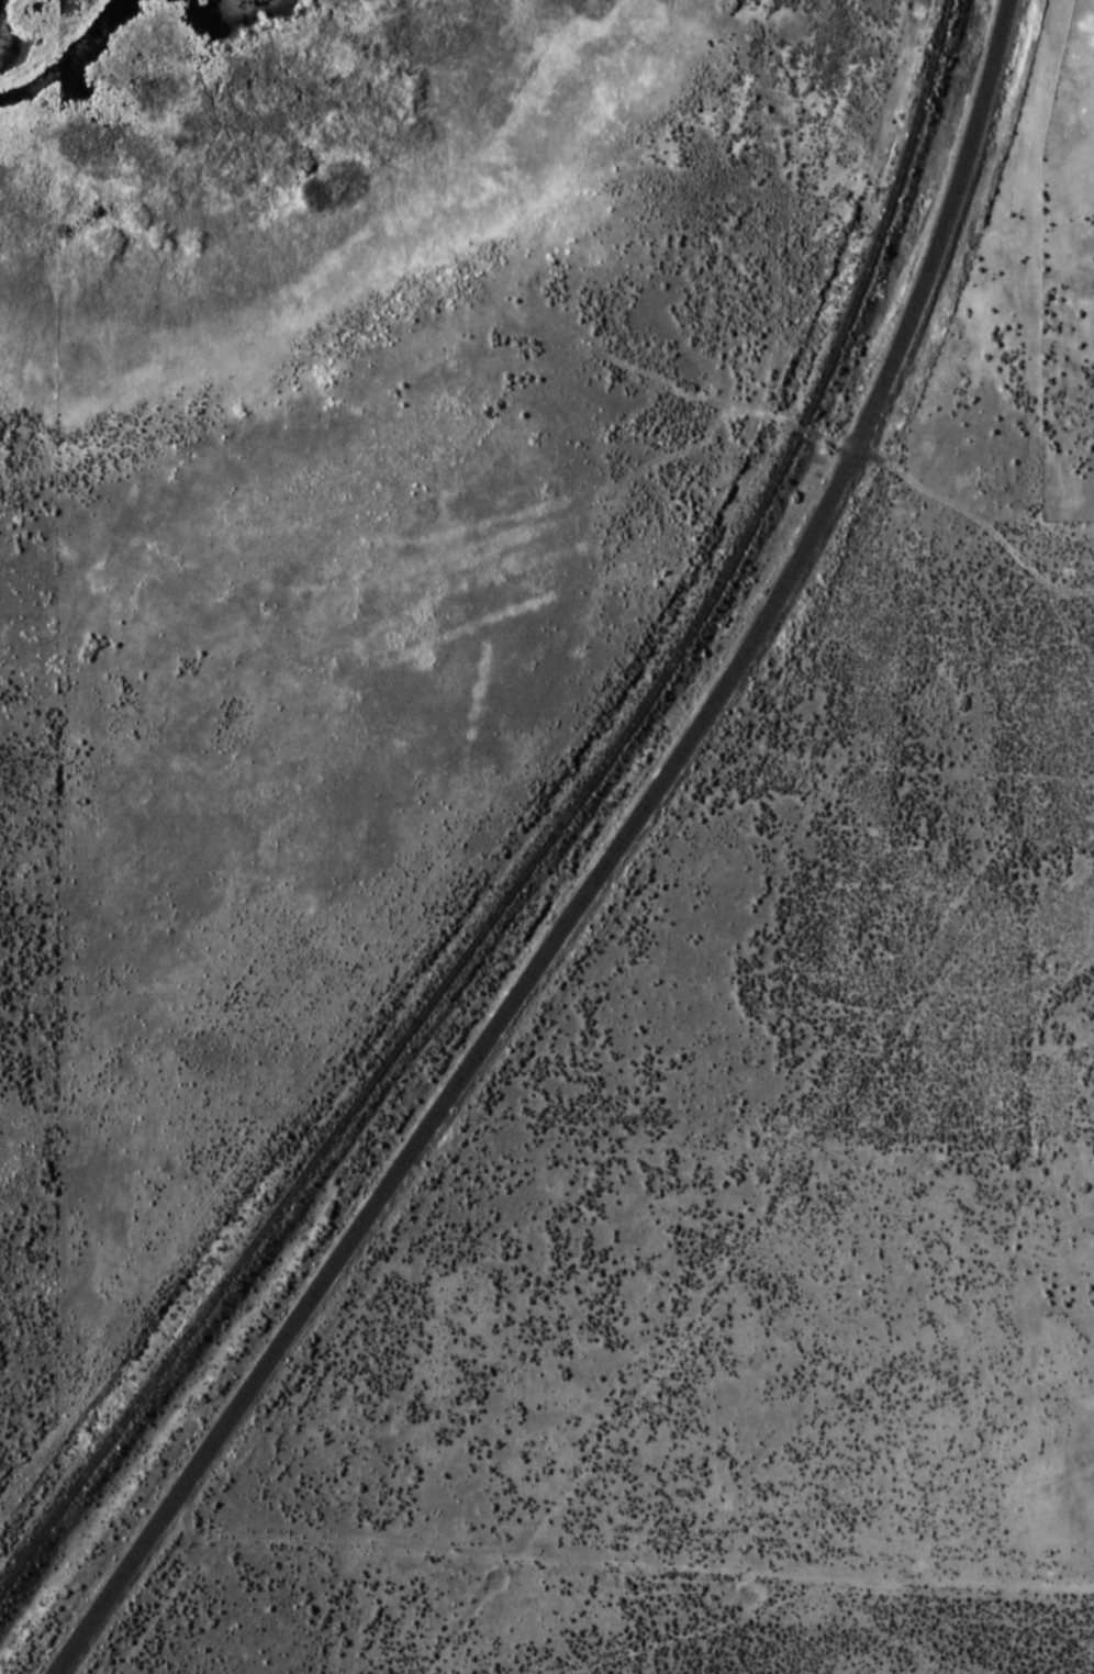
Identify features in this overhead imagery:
road: (823, 437)
railway: (549, 836)
road: (601, 871)

